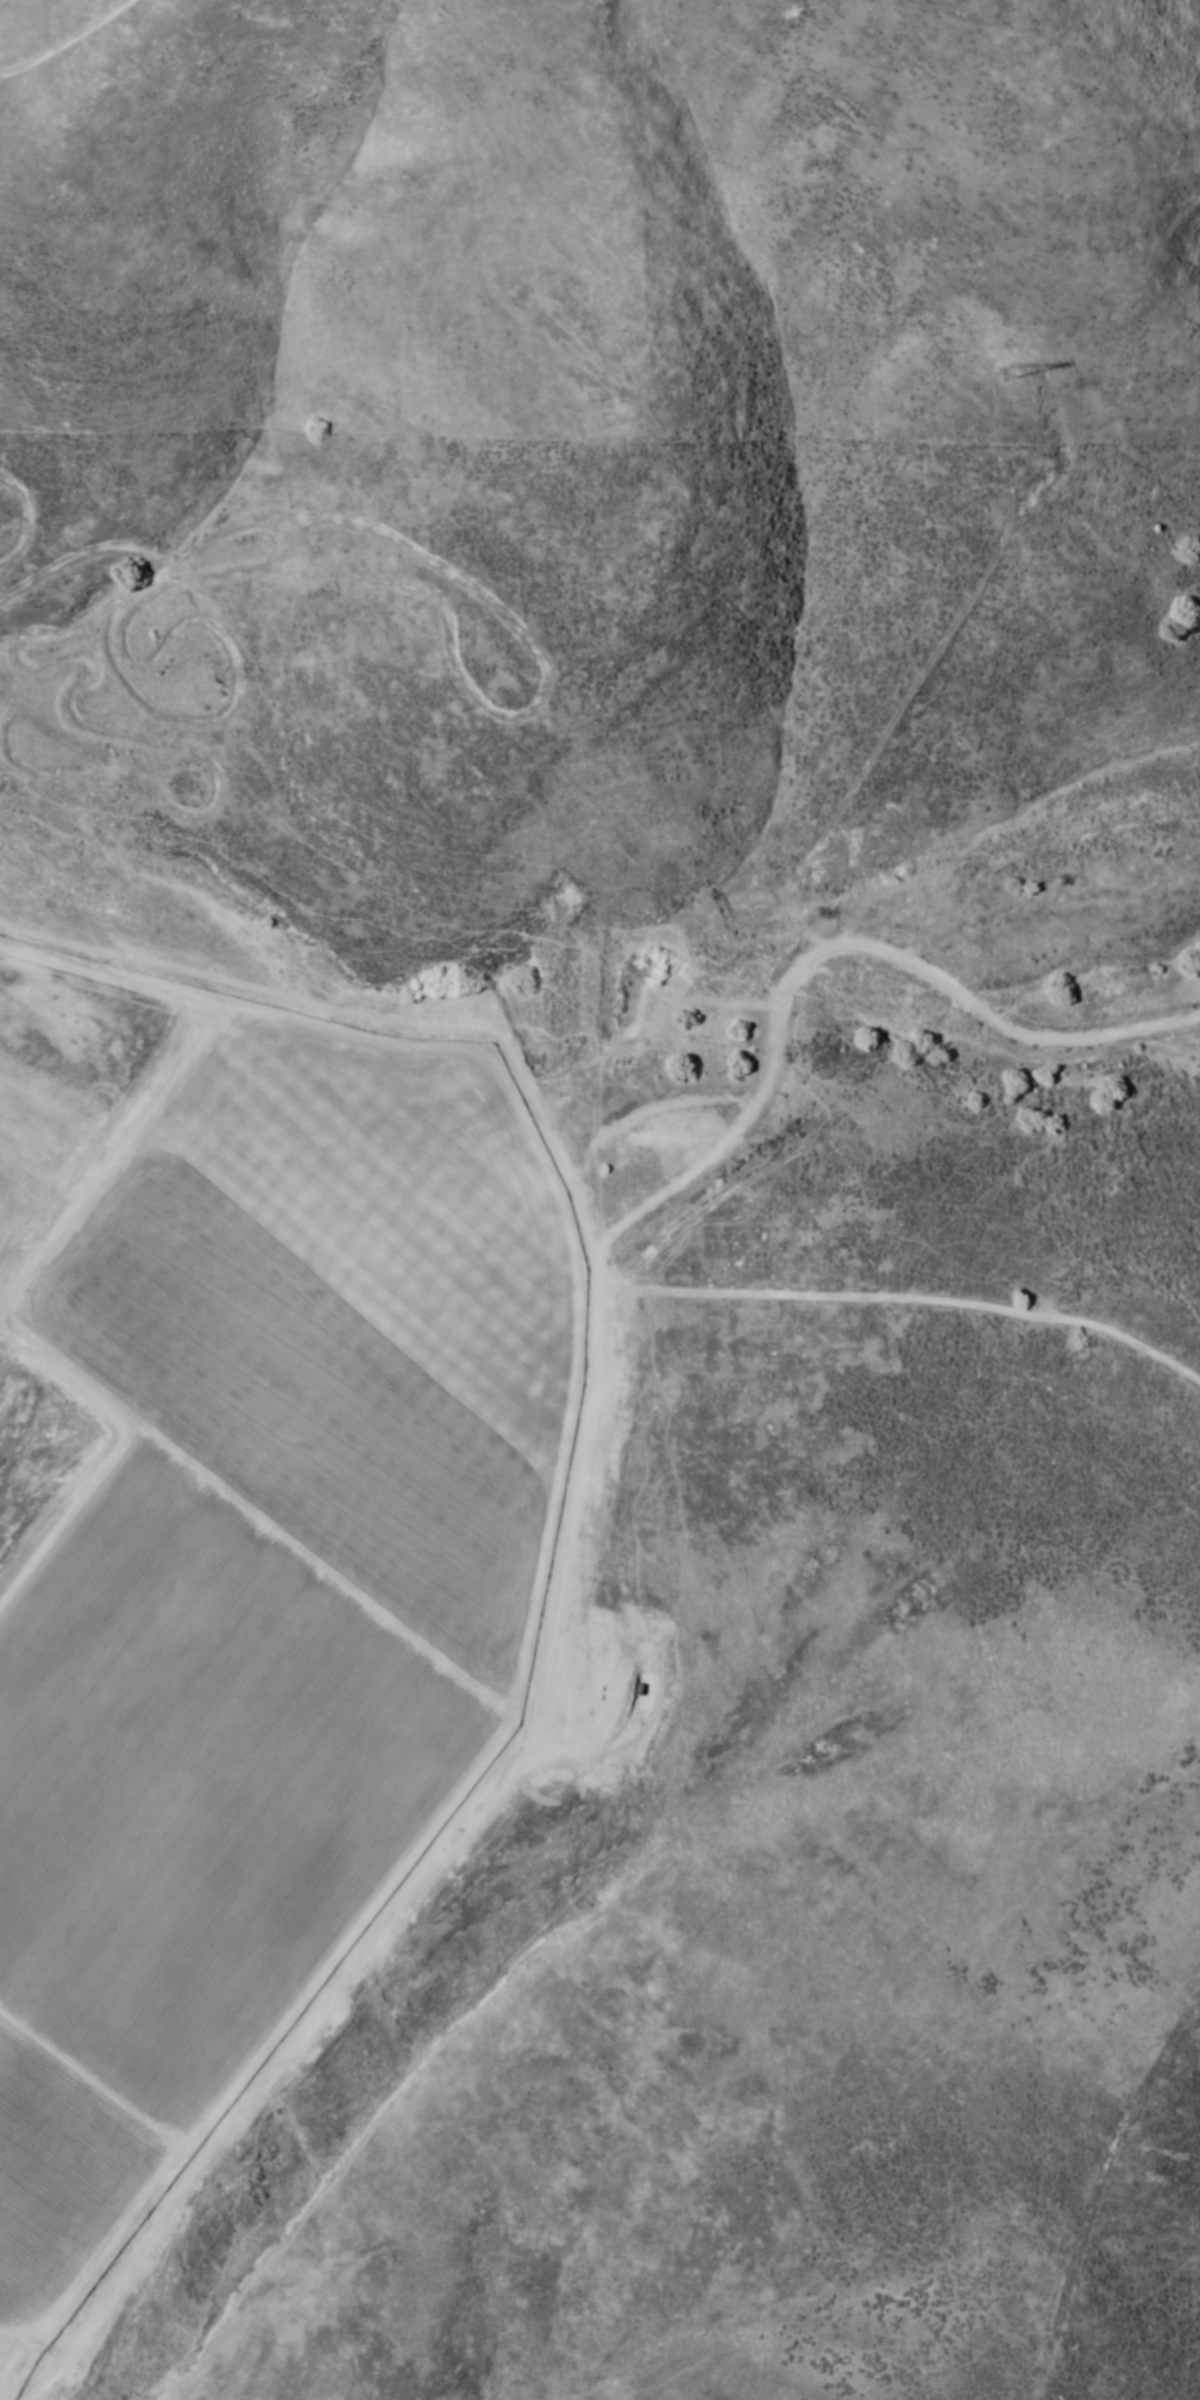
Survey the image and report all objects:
road: (599, 1097)
crop: (257, 1561)

